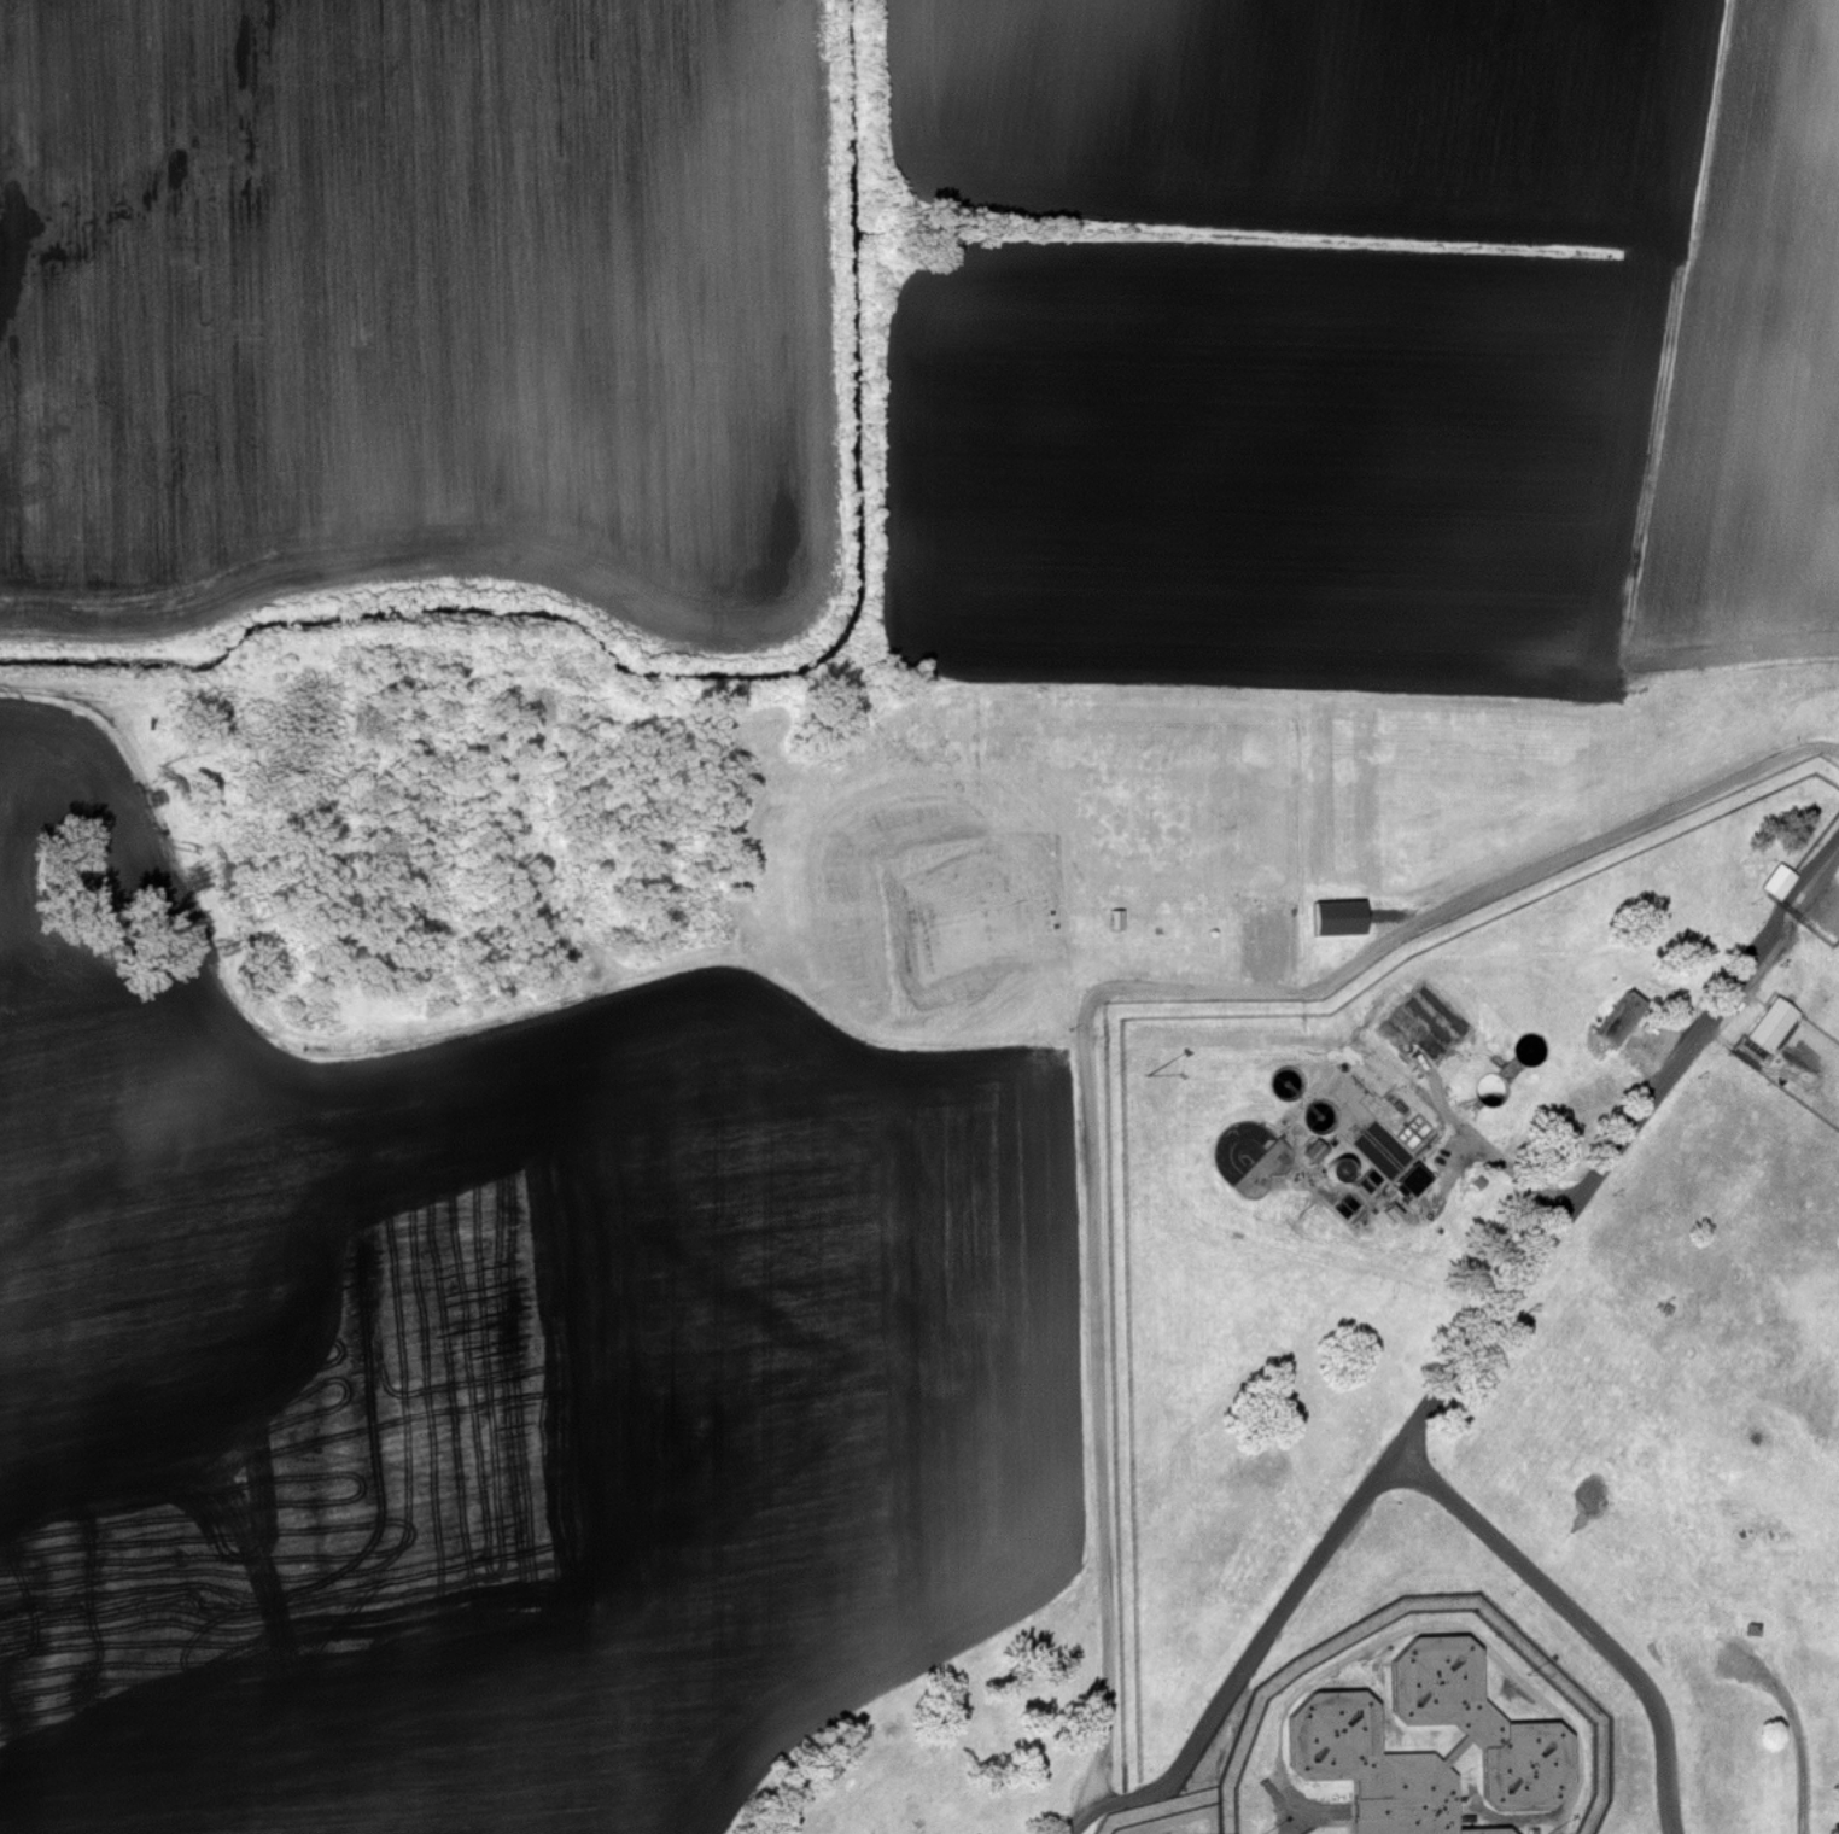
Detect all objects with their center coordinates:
building: (1779, 882)
road: (1092, 999)
road: (1519, 1174)
road: (1471, 1367)
road: (1587, 1623)
building: (1520, 1774)
building: (1380, 1778)

